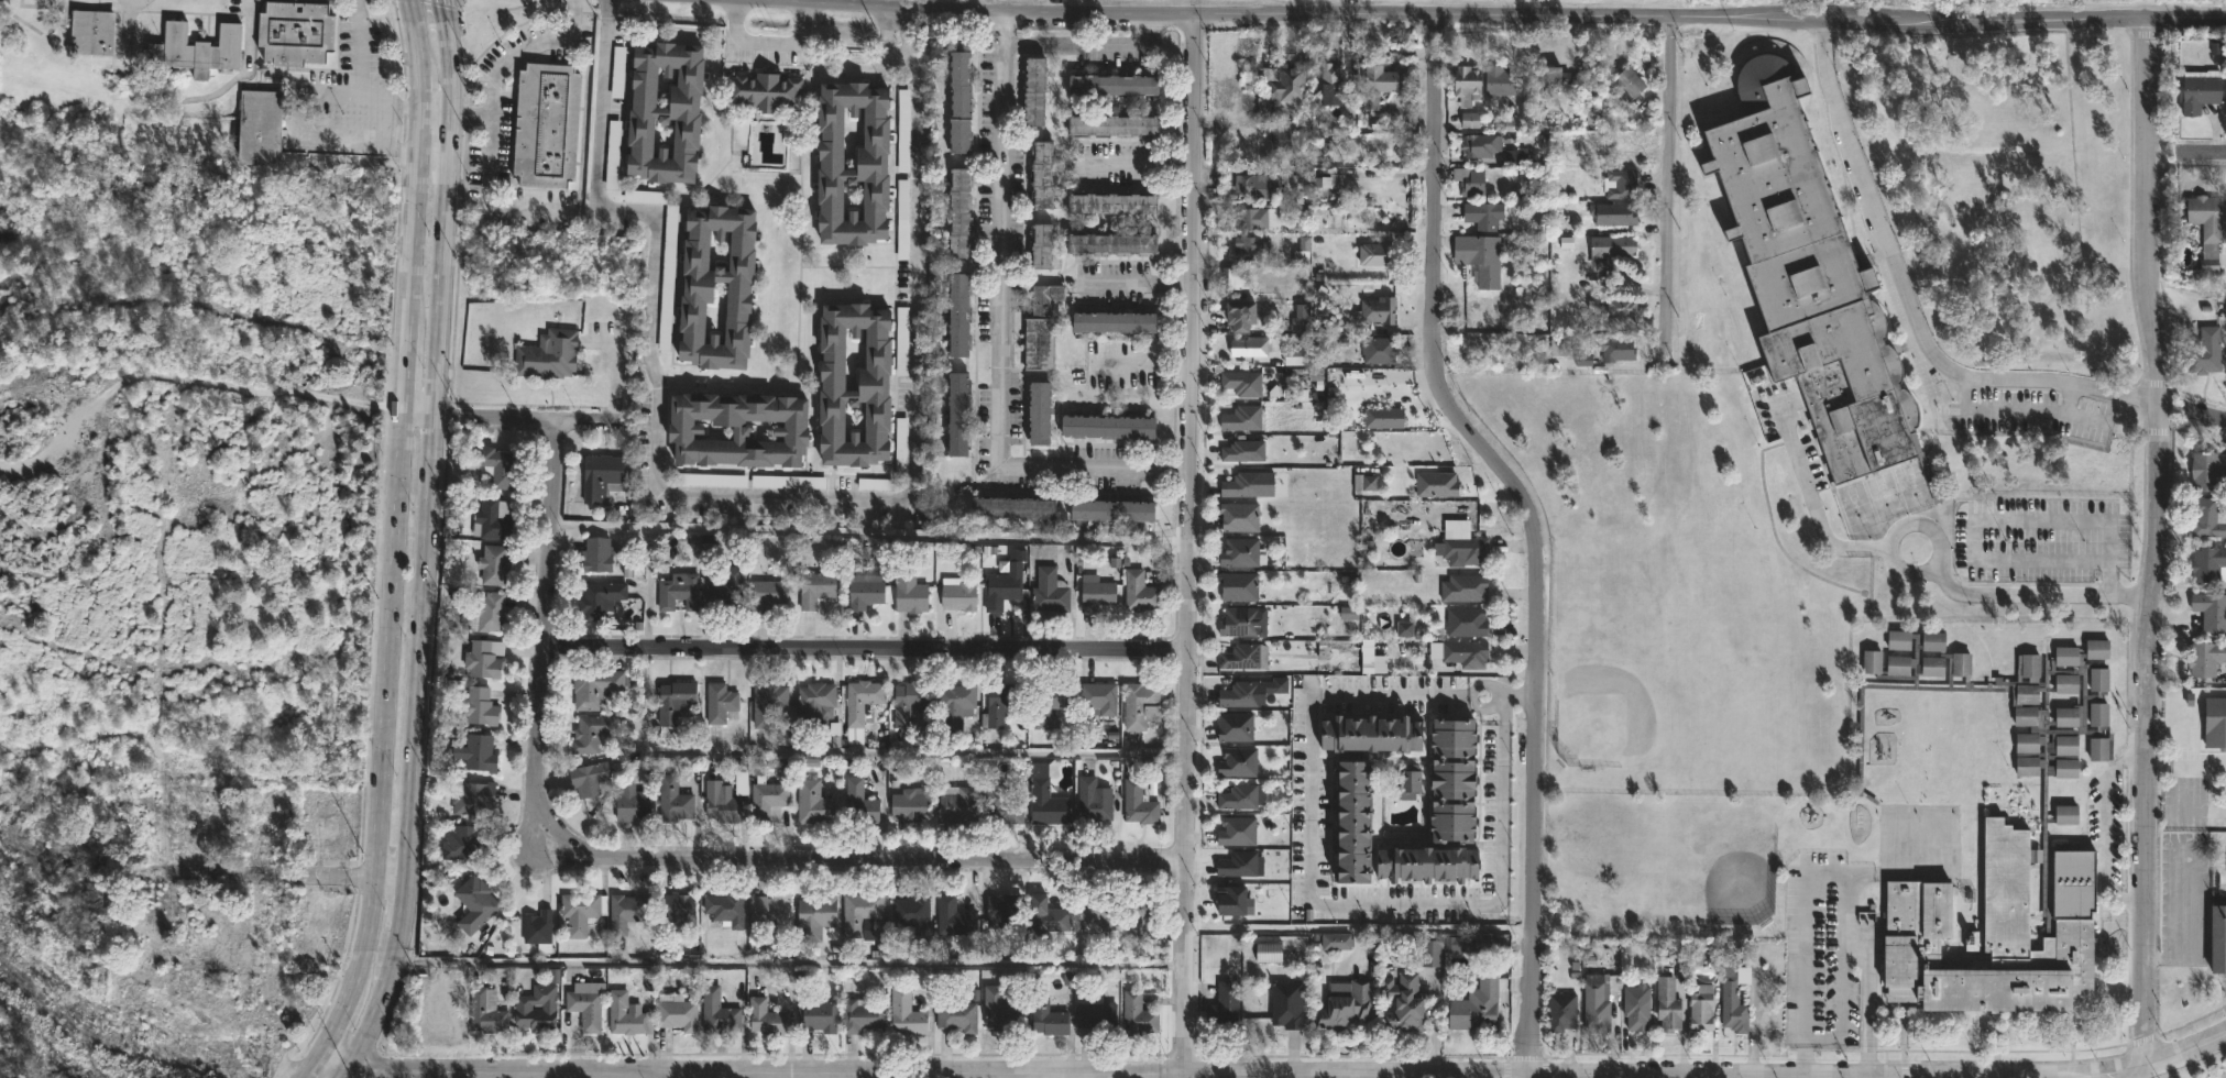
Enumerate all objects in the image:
road: (793, 1)
road: (1086, 12)
road: (1831, 18)
building: (94, 31)
building: (295, 31)
road: (768, 38)
road: (1087, 43)
building: (198, 47)
road: (246, 67)
building: (1549, 77)
building: (1496, 79)
building: (1112, 84)
building: (1329, 84)
building: (1465, 84)
building: (1285, 85)
building: (1375, 85)
building: (1629, 85)
building: (2200, 89)
road: (332, 90)
building: (765, 90)
building: (1035, 90)
road: (364, 91)
building: (961, 100)
road: (405, 109)
road: (495, 110)
road: (435, 111)
building: (669, 111)
road: (472, 113)
building: (1471, 121)
building: (548, 123)
building: (1115, 124)
building: (262, 127)
building: (906, 131)
road: (343, 134)
building: (1285, 135)
building: (1480, 145)
road: (2206, 152)
road: (1139, 159)
building: (876, 163)
building: (1041, 175)
building: (1469, 180)
building: (1329, 182)
building: (1621, 184)
building: (1252, 185)
road: (1667, 188)
road: (1872, 198)
building: (1112, 204)
building: (960, 212)
building: (1613, 213)
building: (1482, 215)
building: (1258, 217)
building: (904, 221)
building: (1339, 222)
building: (2205, 222)
building: (1115, 243)
building: (1040, 245)
building: (1250, 248)
building: (1609, 248)
building: (1373, 254)
building: (1483, 260)
road: (1138, 278)
building: (1232, 278)
building: (1809, 278)
building: (702, 286)
building: (1046, 298)
building: (1620, 307)
building: (1374, 310)
building: (1244, 313)
building: (958, 315)
building: (1118, 321)
road: (998, 331)
building: (903, 333)
building: (1037, 343)
building: (1248, 346)
building: (1562, 348)
building: (1615, 349)
building: (1378, 350)
building: (2204, 352)
building: (549, 354)
building: (1297, 356)
road: (1147, 366)
road: (2052, 381)
building: (1244, 382)
building: (878, 384)
road: (2016, 411)
building: (960, 414)
building: (1040, 414)
road: (2205, 414)
road: (420, 415)
road: (525, 417)
building: (1244, 418)
building: (1107, 427)
building: (738, 429)
building: (903, 438)
building: (1244, 450)
building: (497, 466)
building: (2207, 470)
building: (604, 476)
building: (1242, 484)
road: (759, 494)
building: (1011, 507)
building: (1114, 510)
building: (1238, 517)
building: (2207, 518)
building: (493, 519)
road: (1535, 528)
road: (1827, 532)
road: (2156, 538)
road: (397, 539)
road: (1186, 543)
road: (428, 546)
road: (1890, 547)
building: (1239, 551)
building: (1463, 551)
building: (599, 553)
road: (2108, 554)
building: (2208, 564)
building: (496, 565)
building: (1239, 585)
building: (818, 586)
road: (2109, 586)
building: (1002, 587)
building: (1463, 587)
park: (1678, 587)
building: (728, 588)
building: (863, 591)
building: (908, 591)
building: (1049, 592)
building: (1139, 592)
building: (680, 593)
building: (767, 593)
building: (957, 593)
building: (1096, 594)
road: (2035, 594)
building: (601, 597)
building: (2211, 610)
building: (487, 614)
building: (1240, 621)
building: (1465, 623)
road: (867, 646)
building: (1465, 653)
building: (1241, 656)
building: (485, 659)
building: (2205, 659)
road: (1490, 684)
building: (597, 686)
building: (1241, 695)
building: (1097, 697)
building: (907, 701)
building: (957, 701)
road: (1511, 701)
building: (677, 702)
building: (769, 702)
building: (816, 702)
building: (999, 702)
building: (721, 703)
building: (1048, 705)
road: (1482, 705)
building: (481, 706)
building: (860, 706)
building: (1139, 706)
building: (2215, 723)
building: (1235, 727)
building: (593, 733)
building: (1380, 735)
building: (480, 752)
road: (759, 756)
building: (1239, 762)
building: (591, 779)
building: (1458, 781)
building: (1405, 782)
building: (145, 784)
building: (473, 796)
building: (1241, 796)
building: (1043, 800)
building: (673, 801)
building: (769, 801)
building: (1093, 801)
building: (722, 803)
building: (814, 803)
building: (141, 804)
building: (860, 804)
building: (1138, 804)
building: (956, 805)
building: (634, 806)
building: (909, 806)
building: (999, 806)
building: (211, 822)
building: (1356, 824)
building: (464, 844)
building: (2002, 847)
road: (662, 858)
building: (1429, 865)
road: (1830, 872)
road: (337, 875)
road: (1315, 901)
building: (476, 902)
building: (727, 908)
building: (676, 909)
building: (630, 910)
building: (770, 910)
building: (579, 911)
building: (862, 911)
building: (1004, 911)
building: (911, 912)
building: (1051, 915)
building: (1137, 915)
building: (814, 916)
building: (954, 917)
building: (1103, 919)
building: (257, 926)
building: (538, 926)
road: (1358, 928)
building: (2218, 935)
building: (1335, 942)
building: (1268, 952)
road: (790, 969)
building: (1599, 1001)
building: (1732, 1001)
building: (1404, 1002)
building: (1290, 1003)
building: (586, 1004)
building: (1344, 1005)
building: (1667, 1005)
road: (1867, 1005)
building: (538, 1007)
building: (1476, 1008)
building: (1636, 1008)
building: (1700, 1008)
building: (487, 1010)
building: (1225, 1010)
building: (677, 1011)
building: (997, 1011)
building: (263, 1012)
building: (1560, 1012)
building: (625, 1013)
building: (716, 1013)
building: (904, 1013)
building: (958, 1013)
building: (860, 1014)
building: (1049, 1014)
building: (815, 1015)
building: (1137, 1016)
building: (764, 1019)
building: (1095, 1020)
road: (2159, 1056)
road: (264, 1066)
road: (309, 1071)
road: (748, 1071)
road: (1358, 1074)
road: (664, 1075)
road: (2094, 1075)
road: (1182, 1076)
road: (1533, 1076)
road: (1811, 1076)
road: (1732, 1077)
road: (1770, 1077)
road: (1799, 1077)
road: (1838, 1077)
road: (1901, 1077)
road: (2224, 1077)

